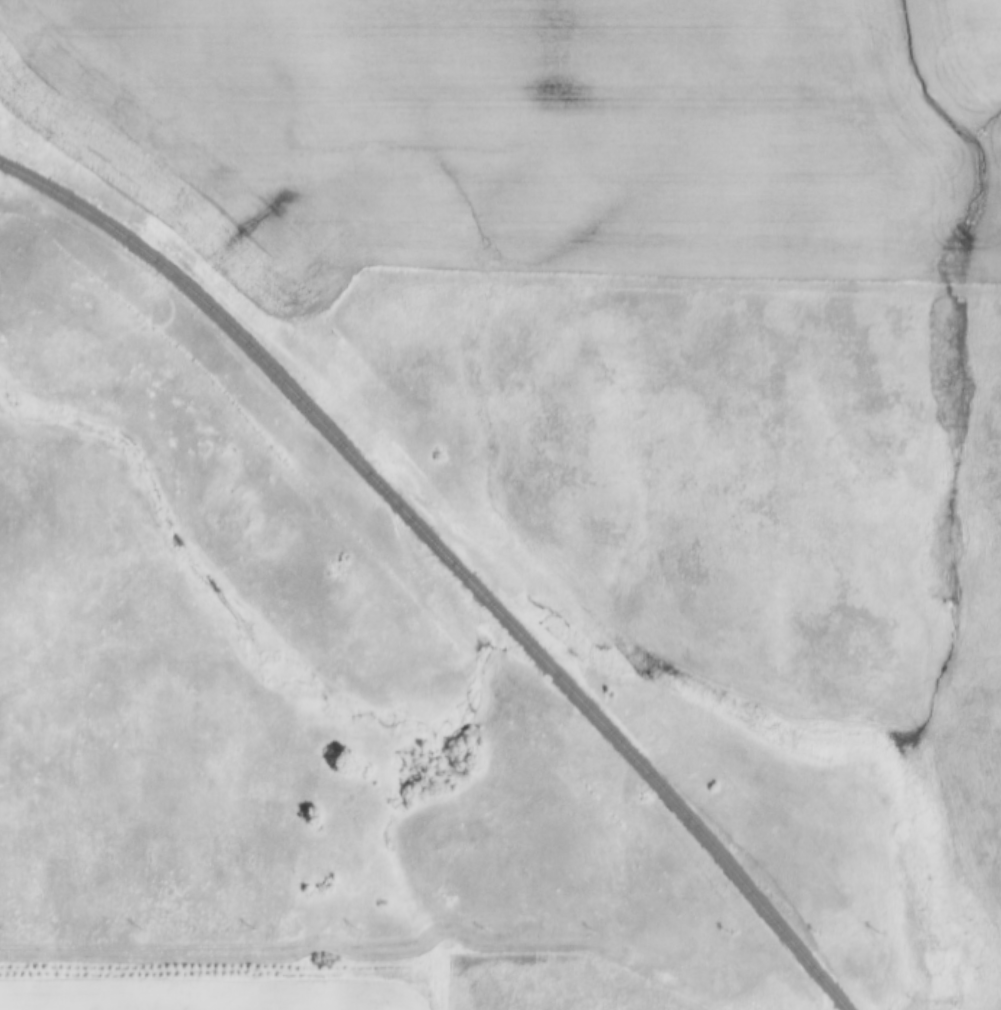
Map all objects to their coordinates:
road: (456, 285)
railway: (451, 554)
road: (220, 953)
road: (438, 981)

